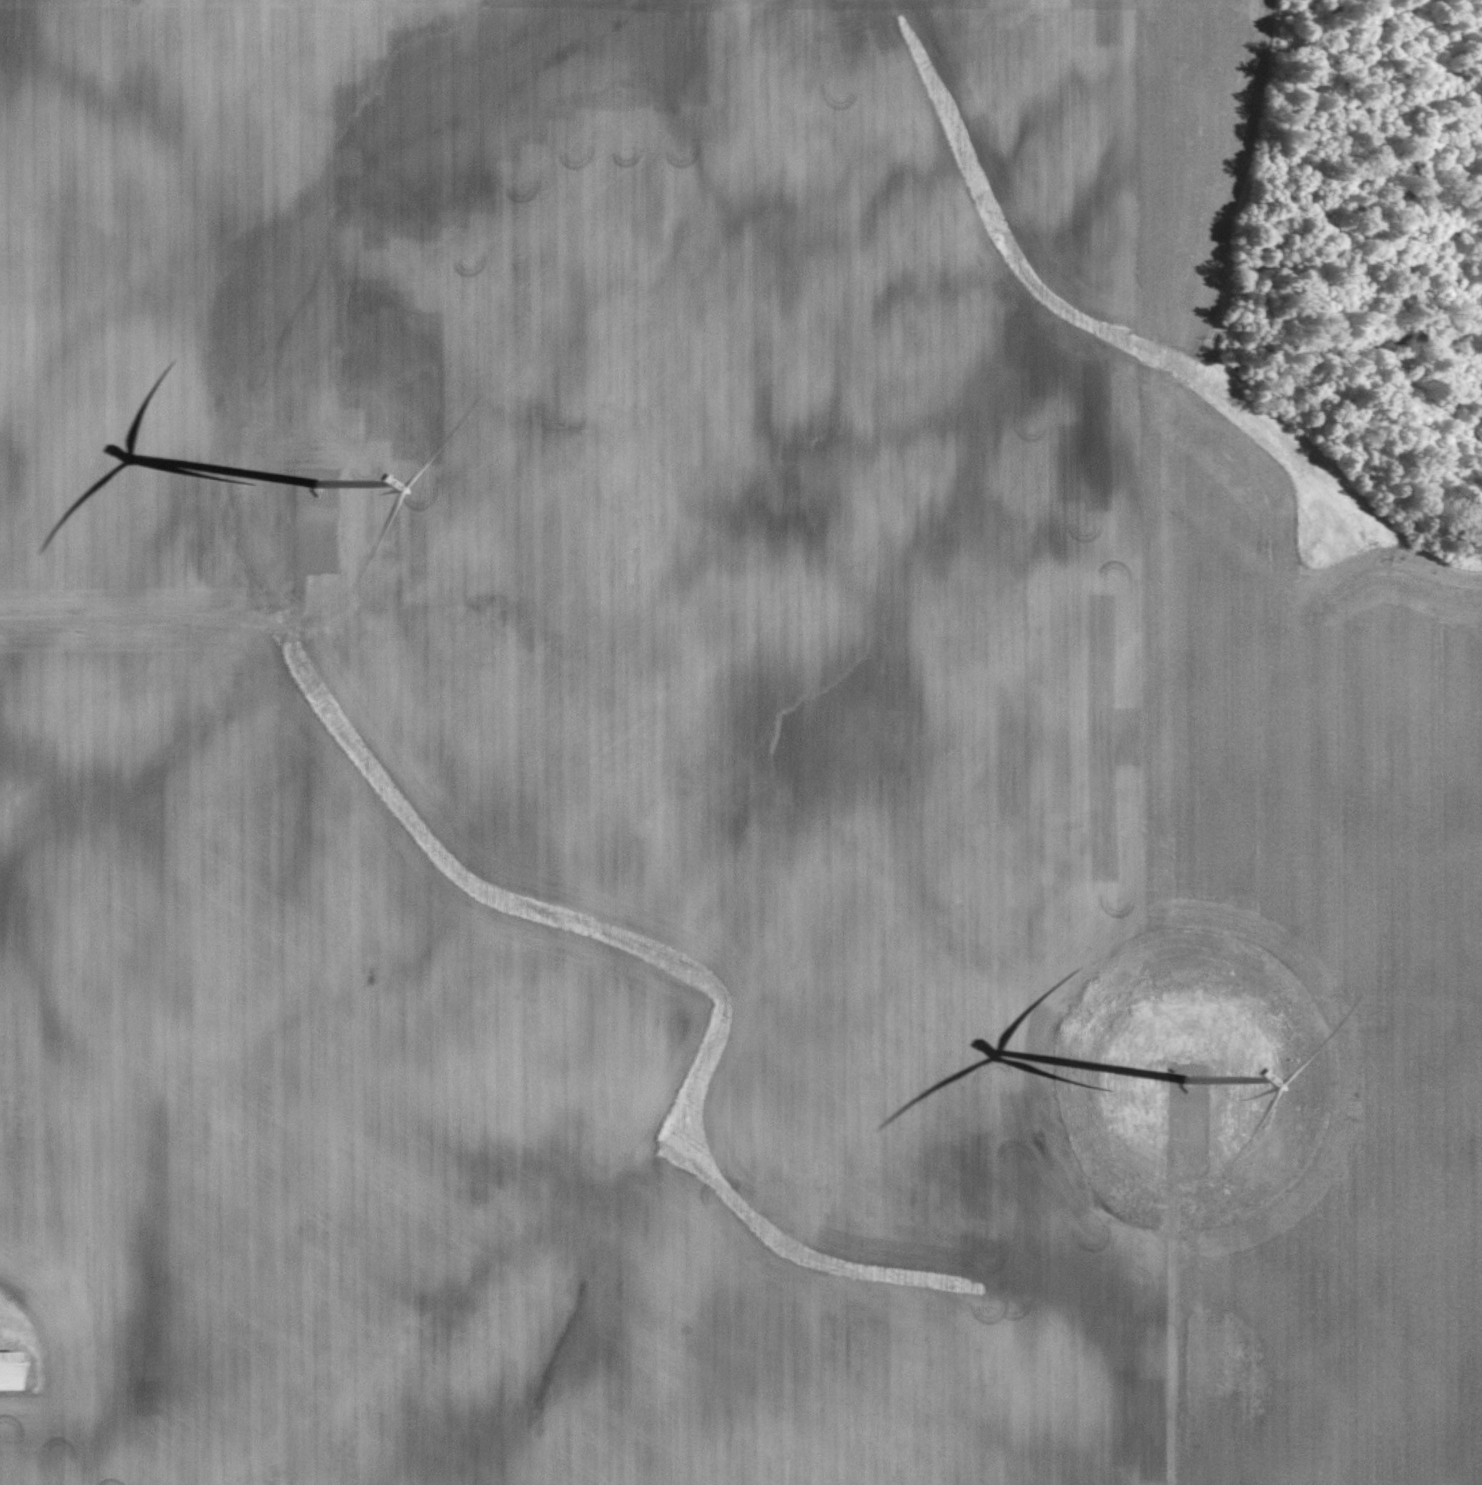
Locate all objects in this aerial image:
wind turbine: (316, 483)
wind turbine: (1188, 1078)
road: (1169, 1313)
building: (8, 1370)

